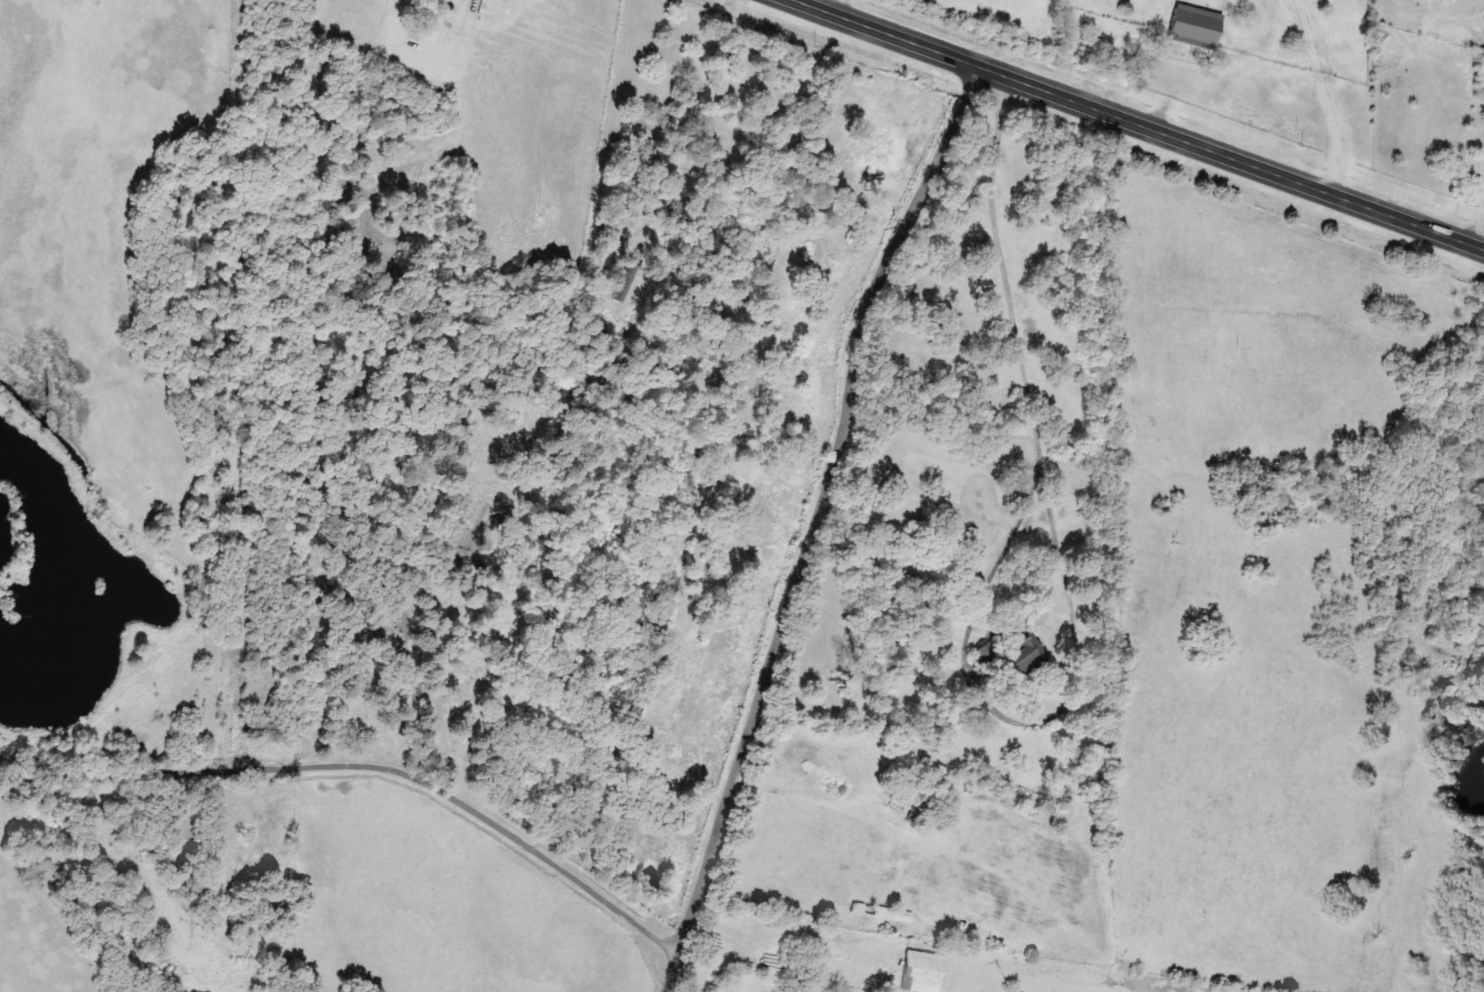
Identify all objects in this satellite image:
road: (834, 9)
building: (1197, 26)
road: (1132, 126)
road: (1008, 274)
building: (629, 282)
road: (803, 526)
building: (1026, 652)
road: (1084, 705)
road: (353, 779)
building: (884, 914)
building: (924, 972)

